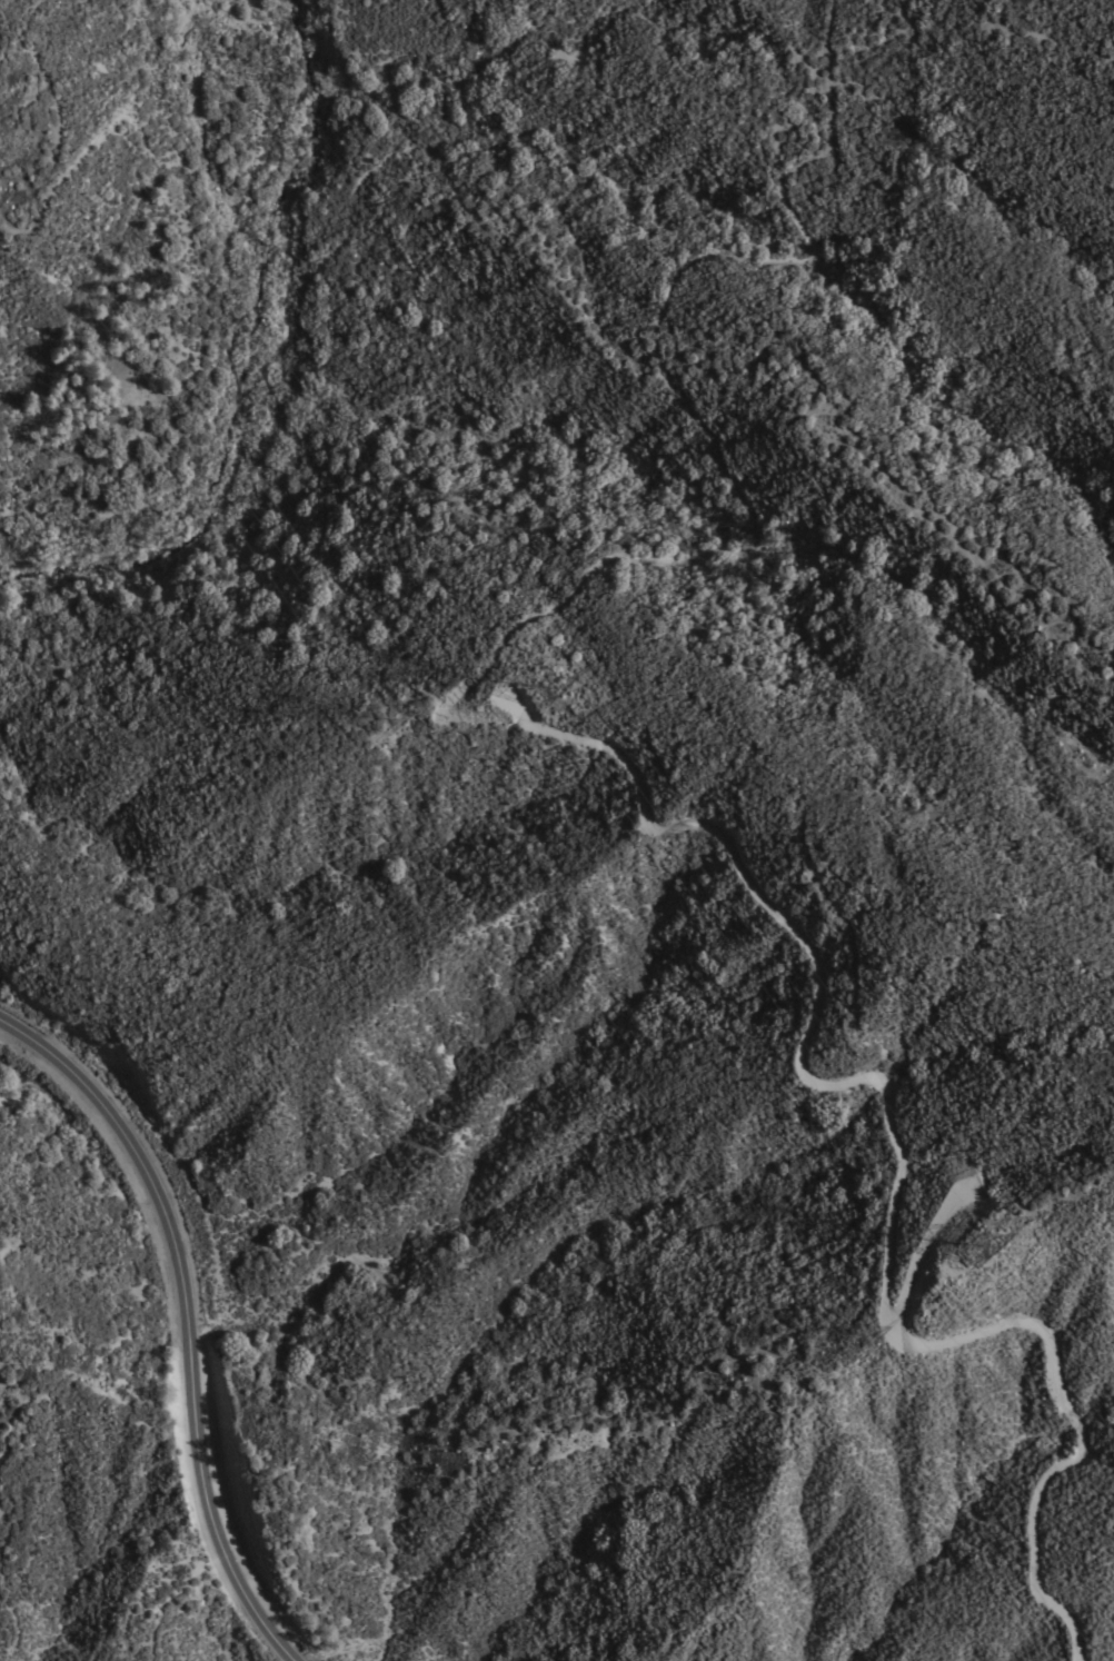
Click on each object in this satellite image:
road: (2, 33)
road: (693, 420)
power tower: (535, 693)
power tower: (384, 729)
power tower: (825, 859)
road: (903, 1161)
power tower: (967, 1261)
road: (185, 1320)
power tower: (854, 1341)

